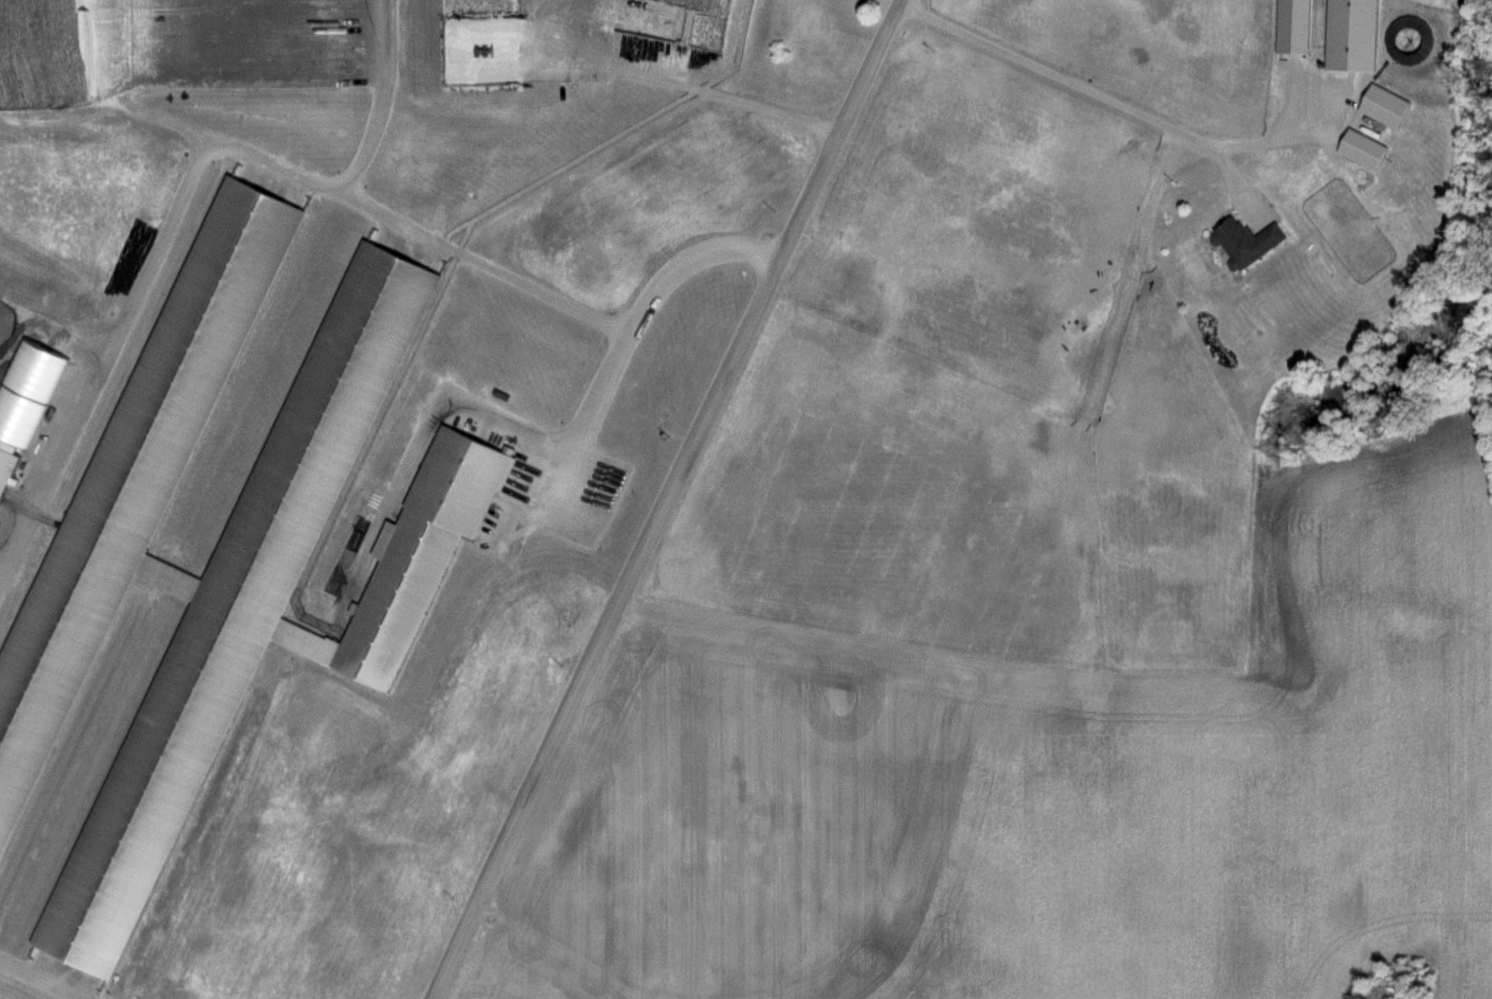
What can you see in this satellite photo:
building: (1298, 27)
building: (1358, 35)
building: (1413, 41)
building: (484, 42)
road: (1072, 76)
building: (1389, 107)
building: (1368, 149)
building: (1252, 242)
road: (476, 258)
road: (130, 279)
road: (574, 394)
road: (666, 503)
road: (43, 977)

